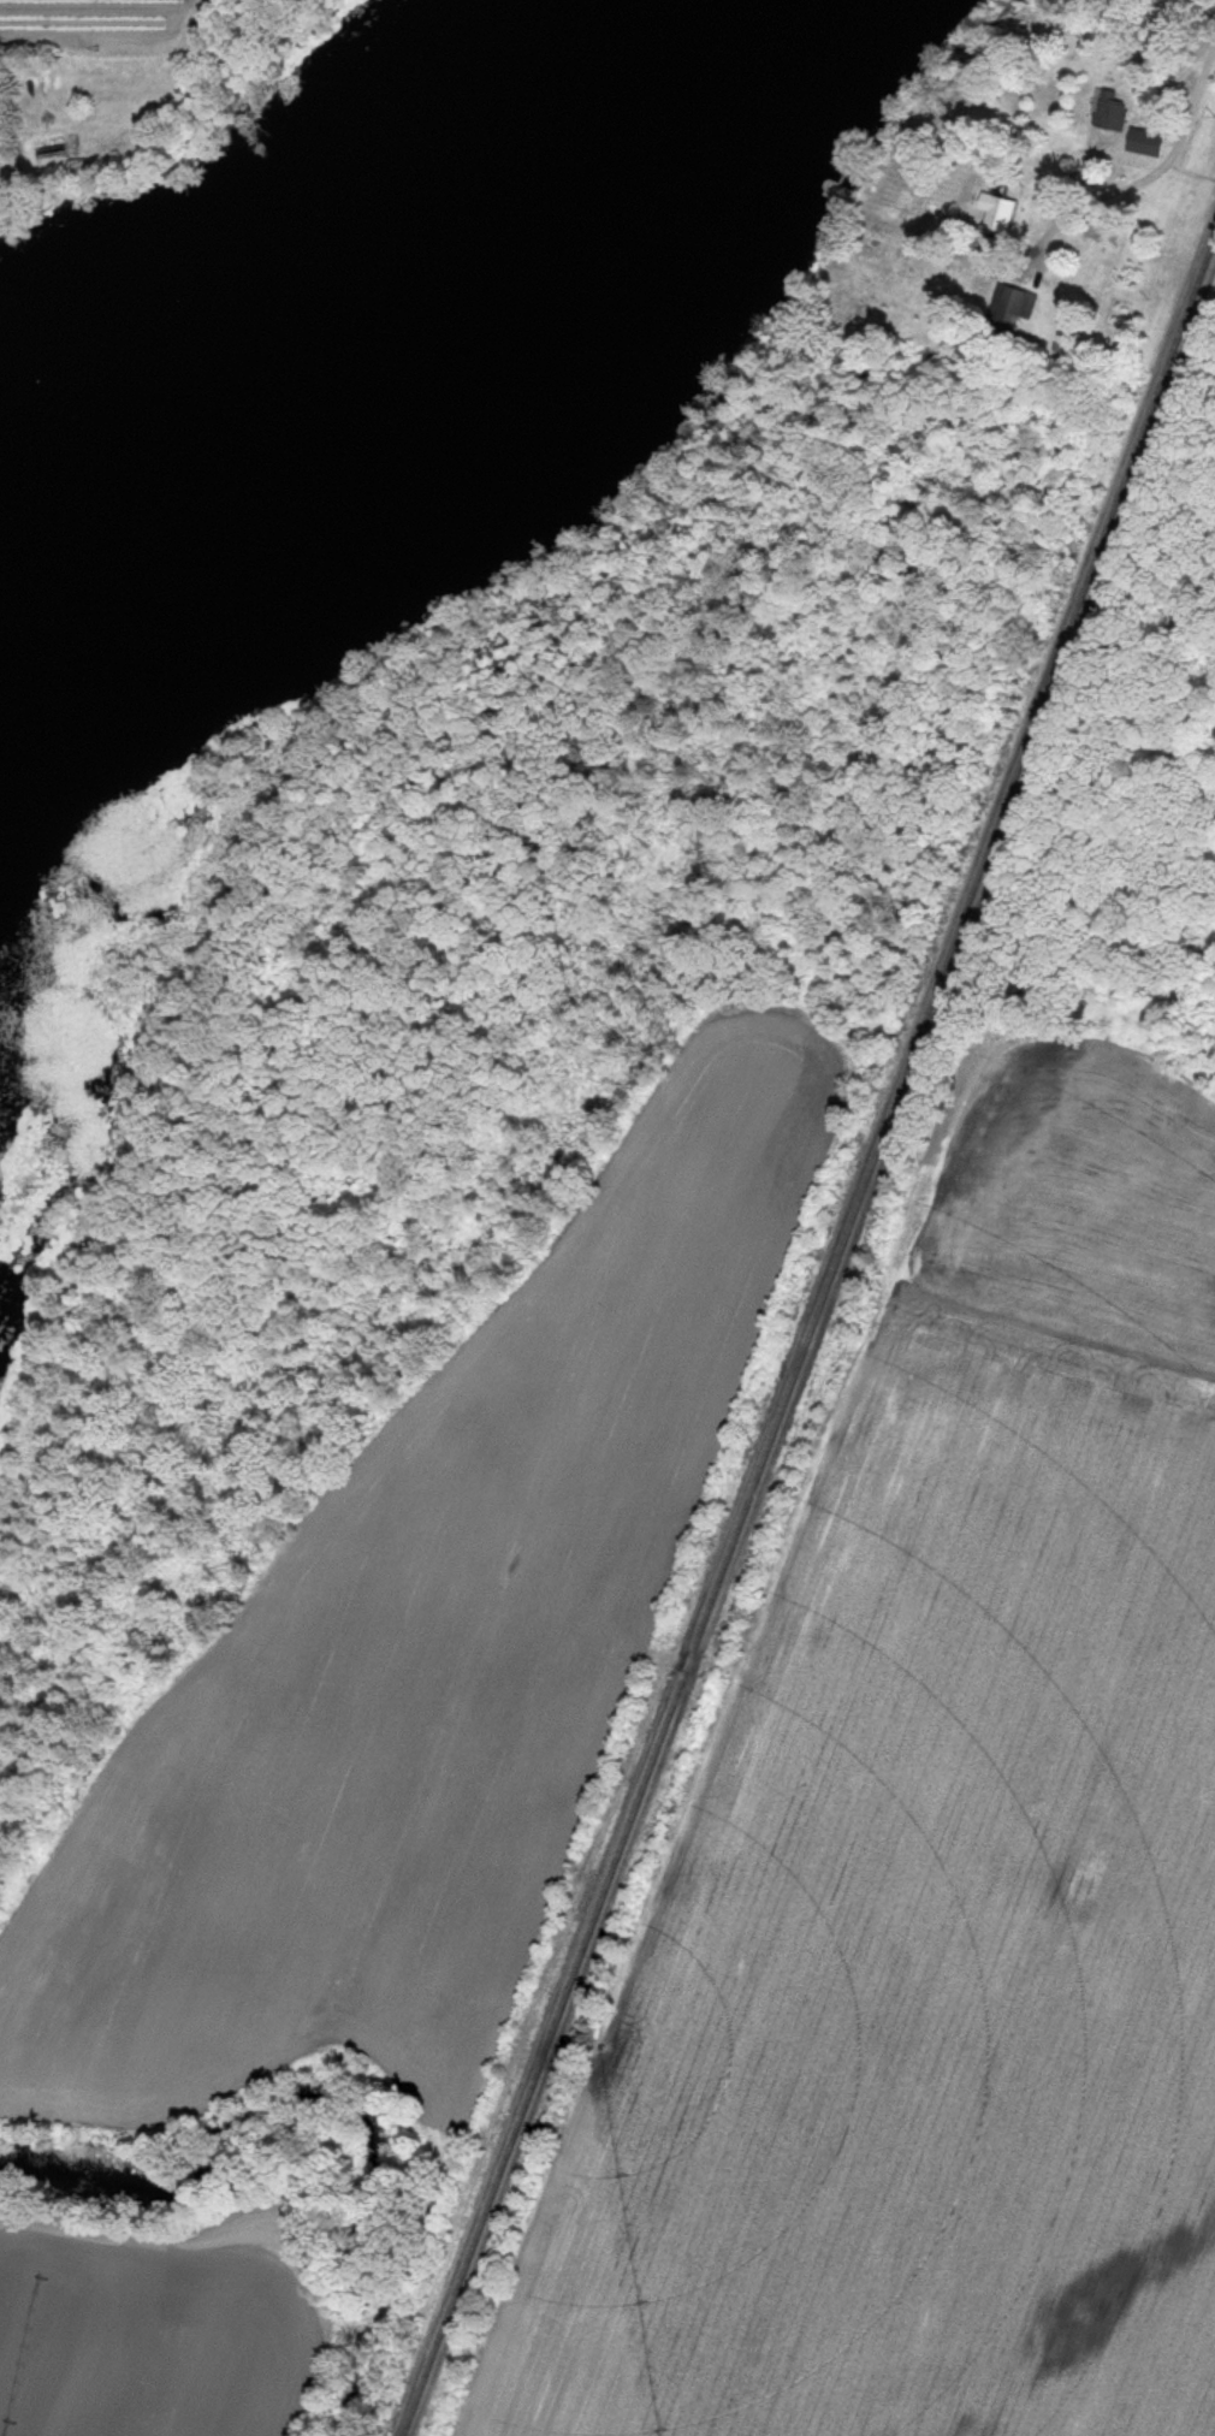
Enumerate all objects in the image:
building: (1106, 111)
building: (1140, 142)
road: (1163, 155)
building: (992, 212)
road: (998, 243)
building: (1008, 306)
river: (389, 371)
railway: (807, 1334)

